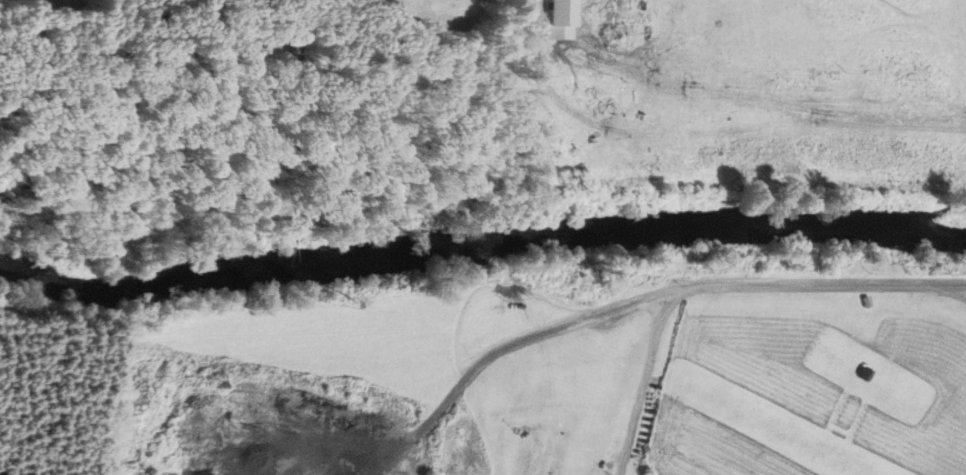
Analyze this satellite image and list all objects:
building: (562, 19)
park: (281, 53)
river: (481, 242)
road: (953, 290)
road: (669, 291)
building: (864, 374)

